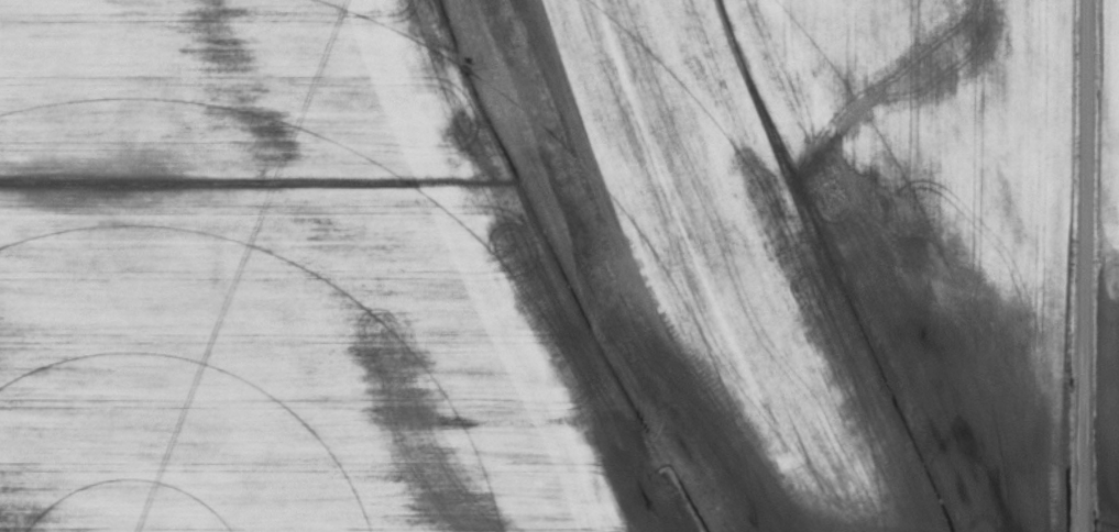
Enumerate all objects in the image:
road: (1089, 266)

